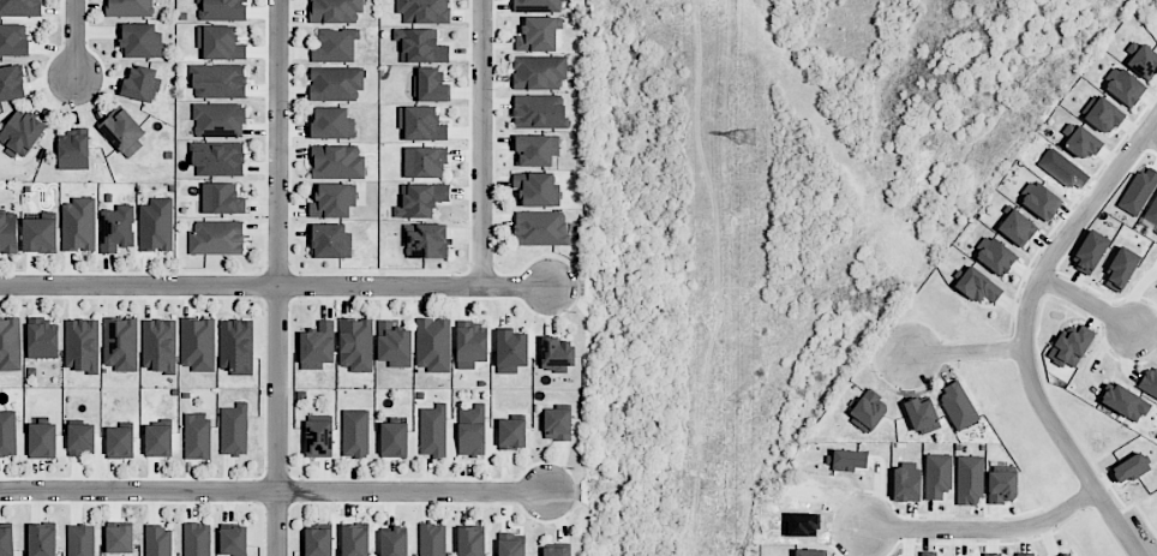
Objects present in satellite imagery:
building: (538, 5)
building: (20, 7)
building: (130, 7)
building: (221, 8)
building: (335, 11)
building: (424, 11)
building: (538, 34)
building: (13, 40)
road: (76, 40)
building: (140, 40)
building: (220, 42)
building: (335, 44)
building: (420, 46)
building: (1141, 59)
building: (539, 72)
building: (217, 80)
building: (336, 82)
building: (11, 83)
building: (140, 83)
building: (431, 85)
building: (1123, 86)
building: (539, 110)
building: (1102, 114)
building: (218, 119)
building: (331, 122)
building: (421, 124)
building: (122, 131)
building: (20, 133)
road: (1151, 137)
power tower: (748, 138)
building: (1079, 141)
road: (482, 143)
building: (73, 150)
building: (536, 150)
building: (218, 159)
building: (340, 161)
building: (426, 161)
building: (536, 189)
building: (1139, 190)
building: (222, 198)
building: (420, 199)
building: (332, 201)
building: (1039, 201)
building: (1151, 216)
building: (79, 225)
building: (156, 225)
building: (541, 227)
building: (1017, 227)
building: (116, 228)
building: (8, 231)
building: (40, 234)
building: (216, 238)
building: (330, 240)
building: (425, 240)
building: (994, 255)
building: (1120, 269)
road: (280, 277)
road: (274, 286)
building: (977, 286)
road: (1087, 304)
road: (1026, 333)
building: (42, 339)
building: (10, 343)
building: (120, 343)
building: (198, 343)
building: (355, 343)
building: (394, 343)
building: (433, 343)
building: (470, 343)
building: (82, 345)
building: (158, 345)
building: (236, 346)
building: (317, 346)
building: (1069, 347)
building: (511, 351)
building: (556, 352)
road: (966, 354)
building: (1149, 382)
building: (1125, 402)
building: (958, 406)
building: (868, 411)
building: (921, 414)
building: (557, 424)
building: (234, 429)
building: (433, 430)
building: (472, 430)
building: (7, 432)
building: (355, 434)
building: (511, 434)
building: (319, 436)
building: (196, 437)
building: (394, 438)
building: (42, 440)
building: (80, 440)
building: (158, 440)
building: (120, 442)
building: (846, 460)
building: (1129, 468)
building: (937, 476)
building: (969, 479)
building: (905, 482)
building: (1002, 486)
road: (274, 491)
road: (984, 531)
building: (119, 538)
building: (42, 539)
building: (80, 539)
building: (197, 539)
building: (355, 539)
building: (432, 539)
building: (6, 540)
building: (158, 540)
building: (233, 540)
building: (470, 540)
building: (318, 542)
building: (394, 542)
building: (511, 544)
building: (557, 551)
building: (808, 552)
building: (928, 552)
building: (991, 554)
building: (1024, 554)
building: (1068, 554)

